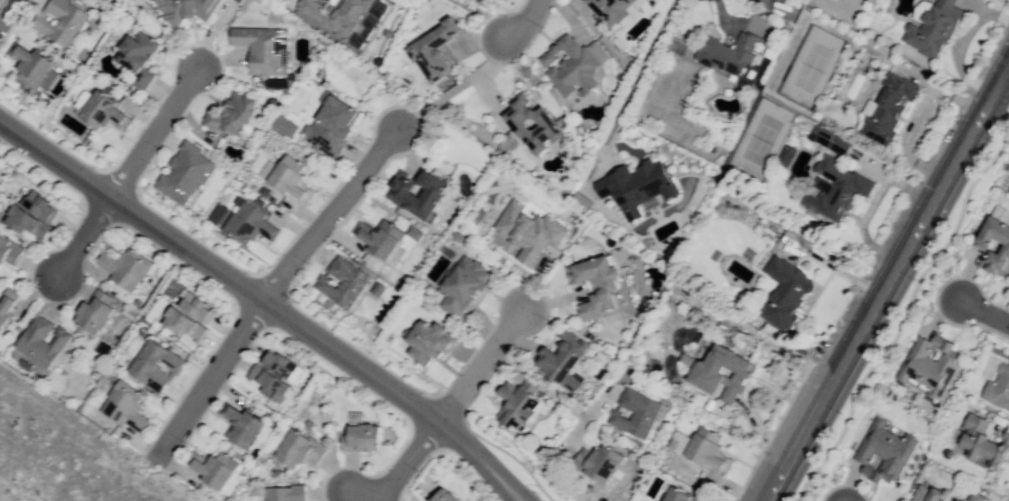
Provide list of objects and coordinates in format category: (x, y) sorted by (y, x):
building: (86, 0)
road: (6, 9)
building: (187, 9)
building: (615, 9)
building: (340, 14)
building: (63, 20)
road: (522, 23)
building: (929, 31)
building: (264, 47)
building: (436, 51)
building: (732, 51)
building: (141, 57)
building: (573, 63)
building: (32, 66)
building: (886, 103)
building: (111, 113)
building: (237, 116)
road: (914, 116)
building: (537, 122)
building: (285, 124)
building: (335, 127)
road: (154, 132)
building: (829, 140)
building: (188, 174)
building: (294, 180)
building: (632, 184)
building: (839, 189)
building: (403, 195)
road: (871, 204)
building: (35, 217)
road: (329, 218)
building: (245, 222)
building: (534, 230)
road: (83, 238)
building: (382, 240)
building: (1004, 248)
building: (11, 252)
building: (126, 268)
building: (465, 283)
road: (889, 284)
building: (345, 285)
building: (601, 286)
building: (784, 292)
road: (263, 305)
road: (983, 311)
building: (7, 313)
building: (99, 315)
park: (903, 315)
road: (903, 316)
building: (193, 319)
building: (41, 341)
building: (433, 341)
building: (562, 358)
building: (155, 364)
road: (479, 366)
building: (930, 368)
building: (725, 371)
building: (275, 377)
road: (210, 380)
road: (540, 383)
building: (997, 389)
building: (519, 408)
building: (128, 409)
building: (637, 410)
road: (587, 417)
building: (242, 426)
building: (366, 439)
building: (981, 443)
building: (709, 447)
building: (300, 449)
building: (884, 452)
road: (406, 461)
building: (604, 463)
building: (215, 471)
building: (286, 493)
building: (924, 494)
building: (448, 496)
building: (677, 496)
road: (355, 497)
building: (973, 497)

